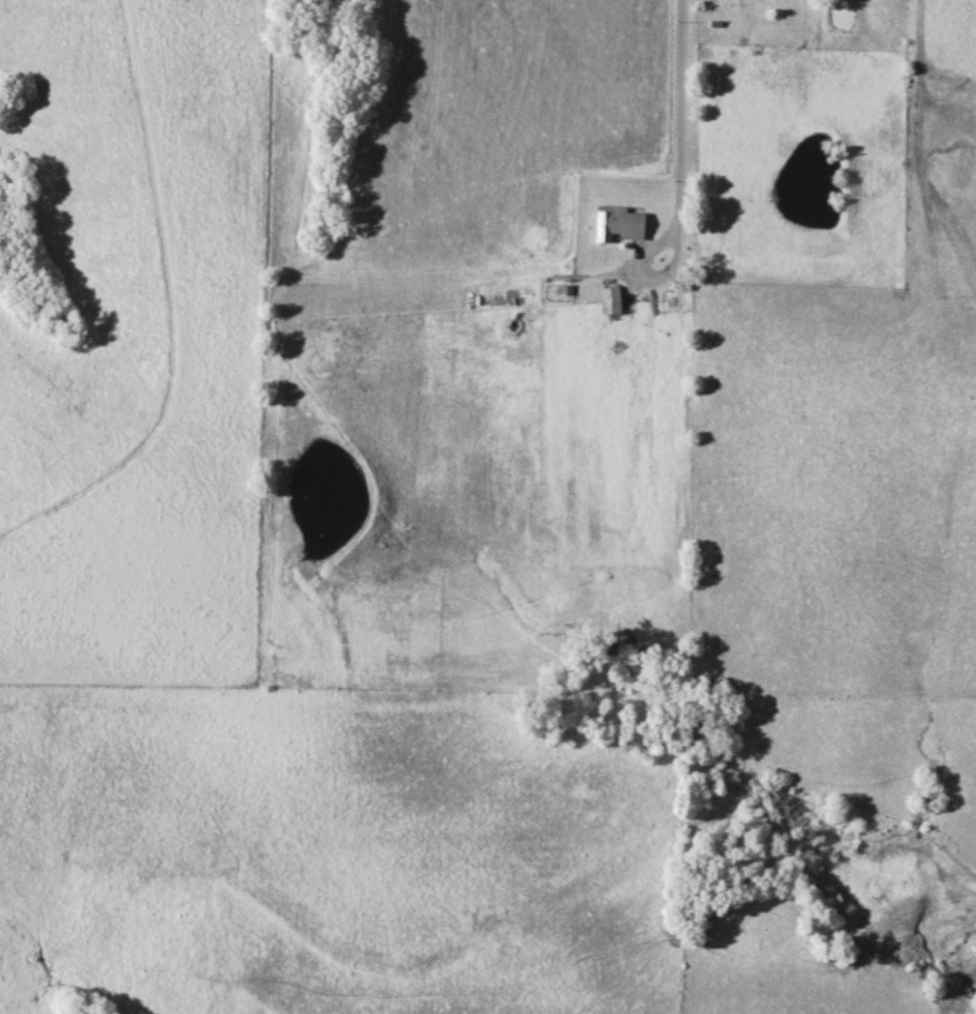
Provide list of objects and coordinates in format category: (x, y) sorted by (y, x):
road: (687, 104)
building: (622, 223)
road: (655, 265)

